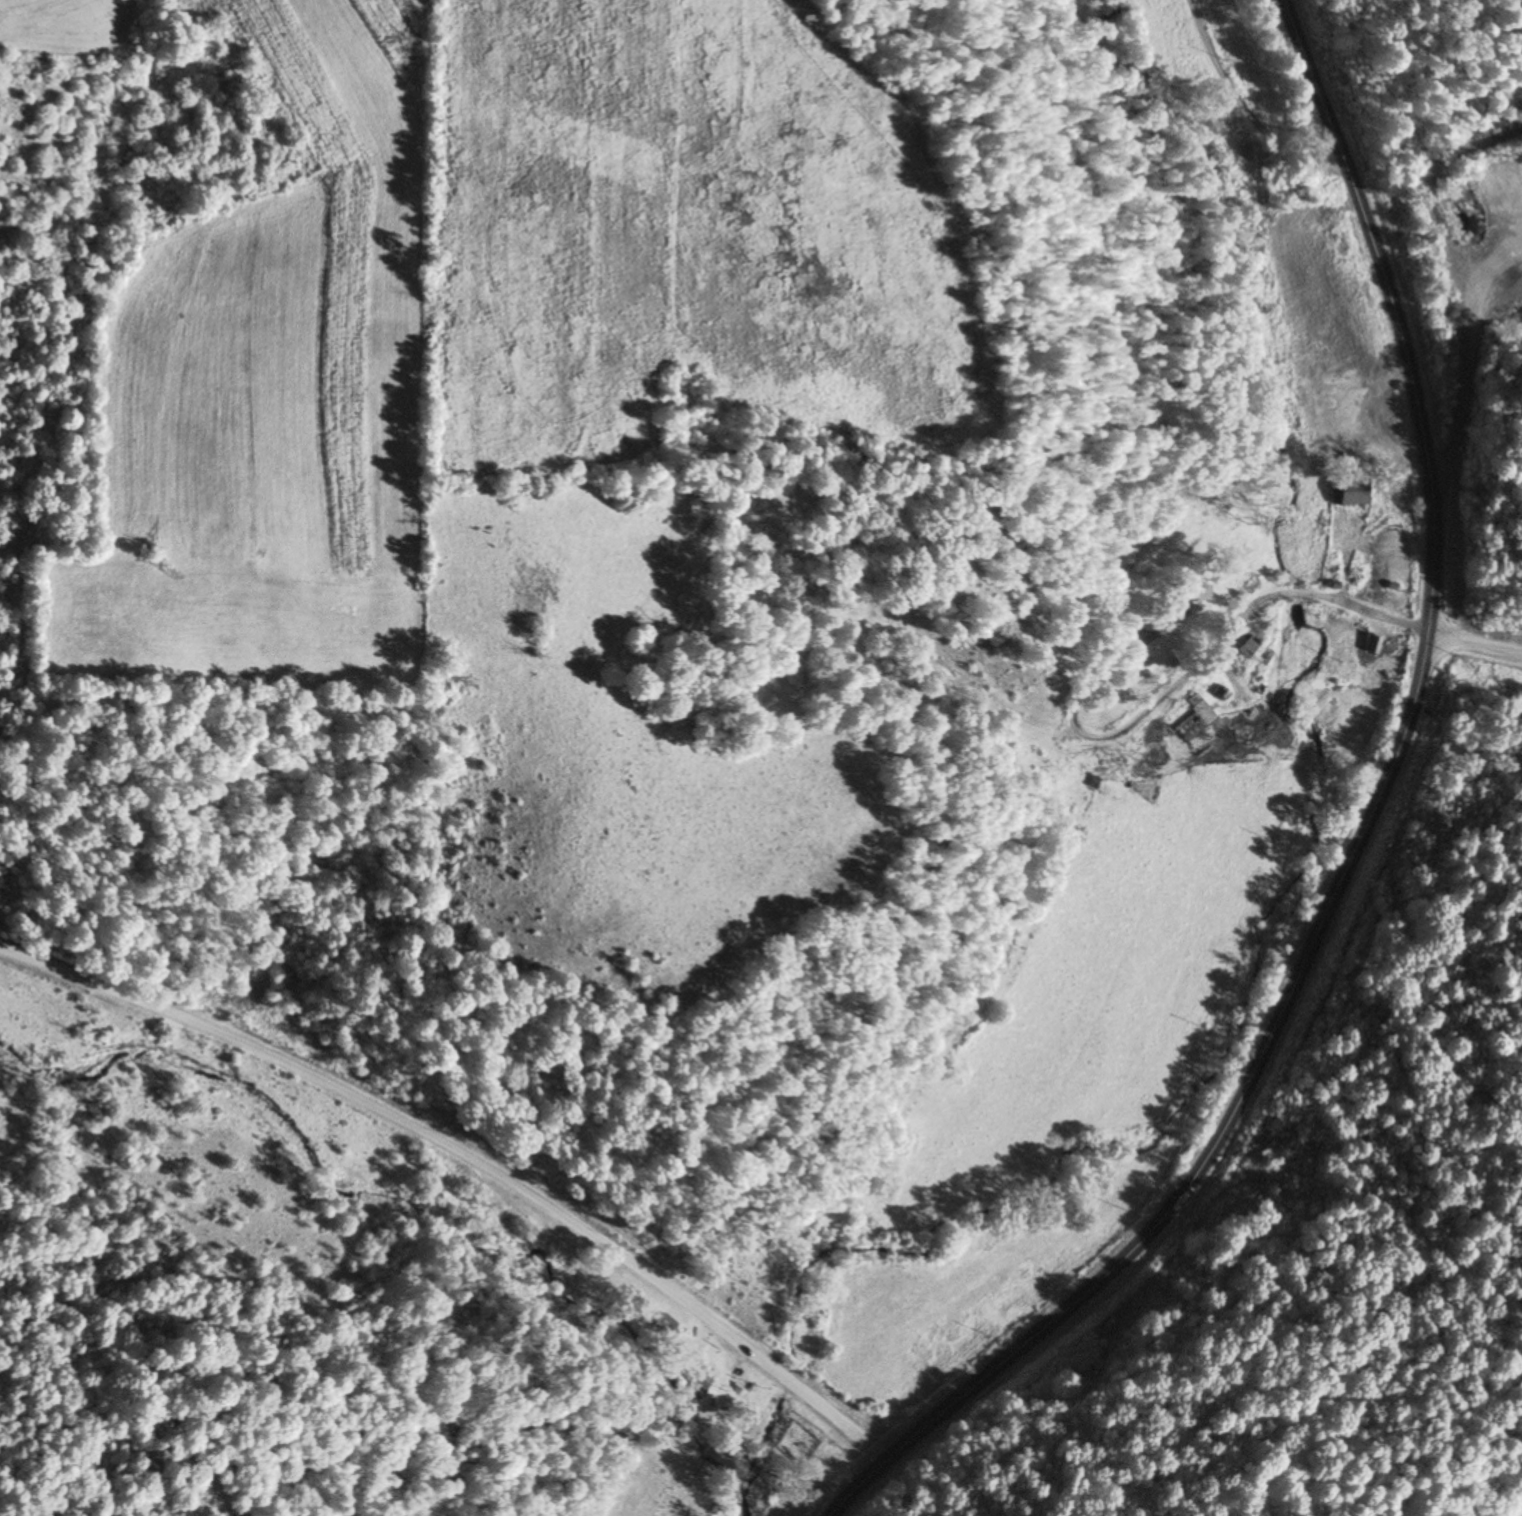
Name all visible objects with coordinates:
road: (1250, 108)
quarry: (1457, 291)
building: (1346, 493)
road: (1294, 587)
building: (1178, 597)
road: (1363, 604)
road: (1470, 647)
building: (1243, 648)
road: (1134, 712)
building: (1195, 722)
road: (1351, 837)
road: (466, 1156)
building: (664, 1328)

